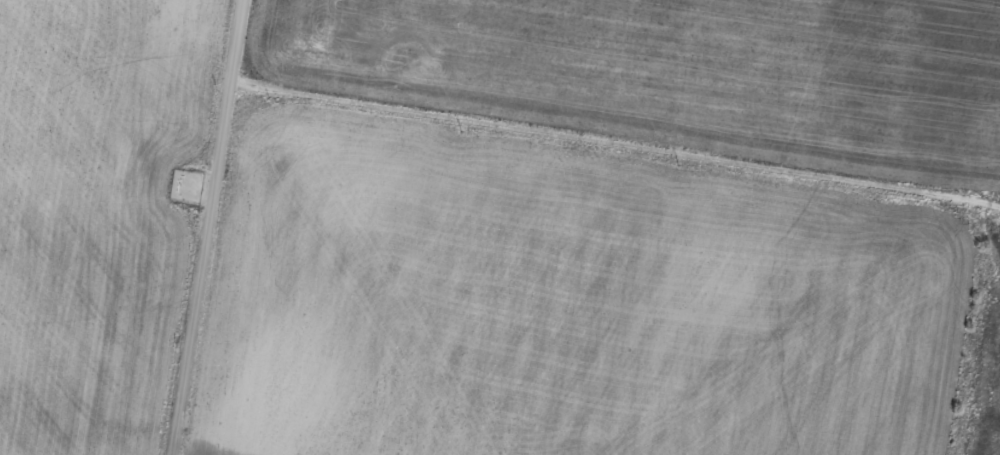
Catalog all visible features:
crop: (675, 75)
road: (615, 151)
crop: (98, 213)
road: (208, 227)
crop: (563, 304)

